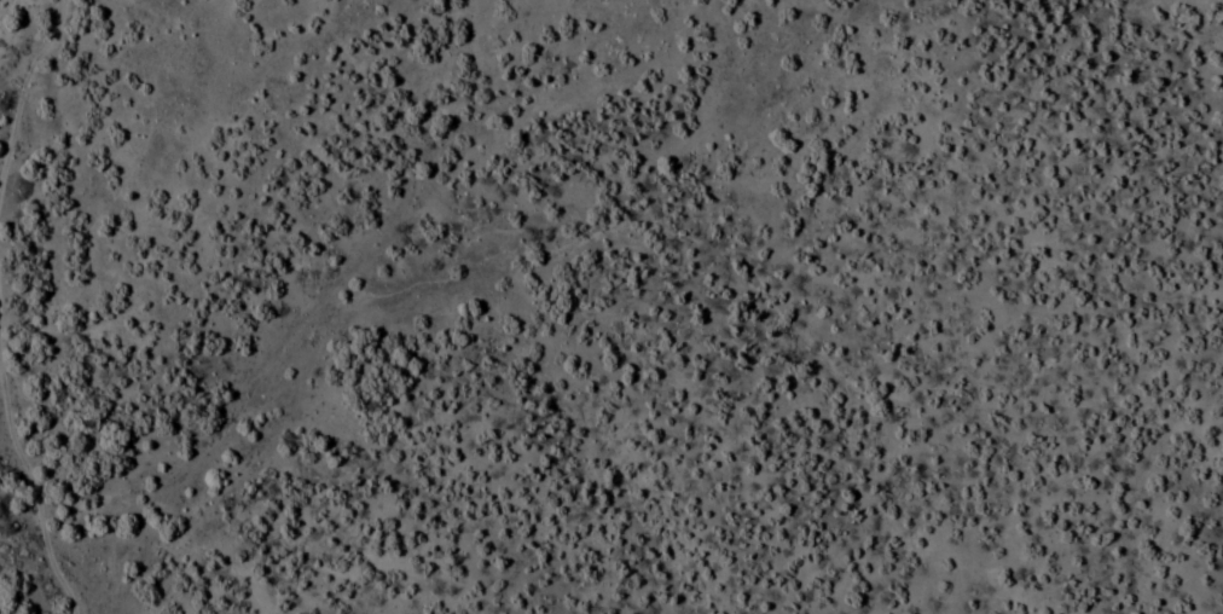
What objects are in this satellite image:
road: (1195, 27)

